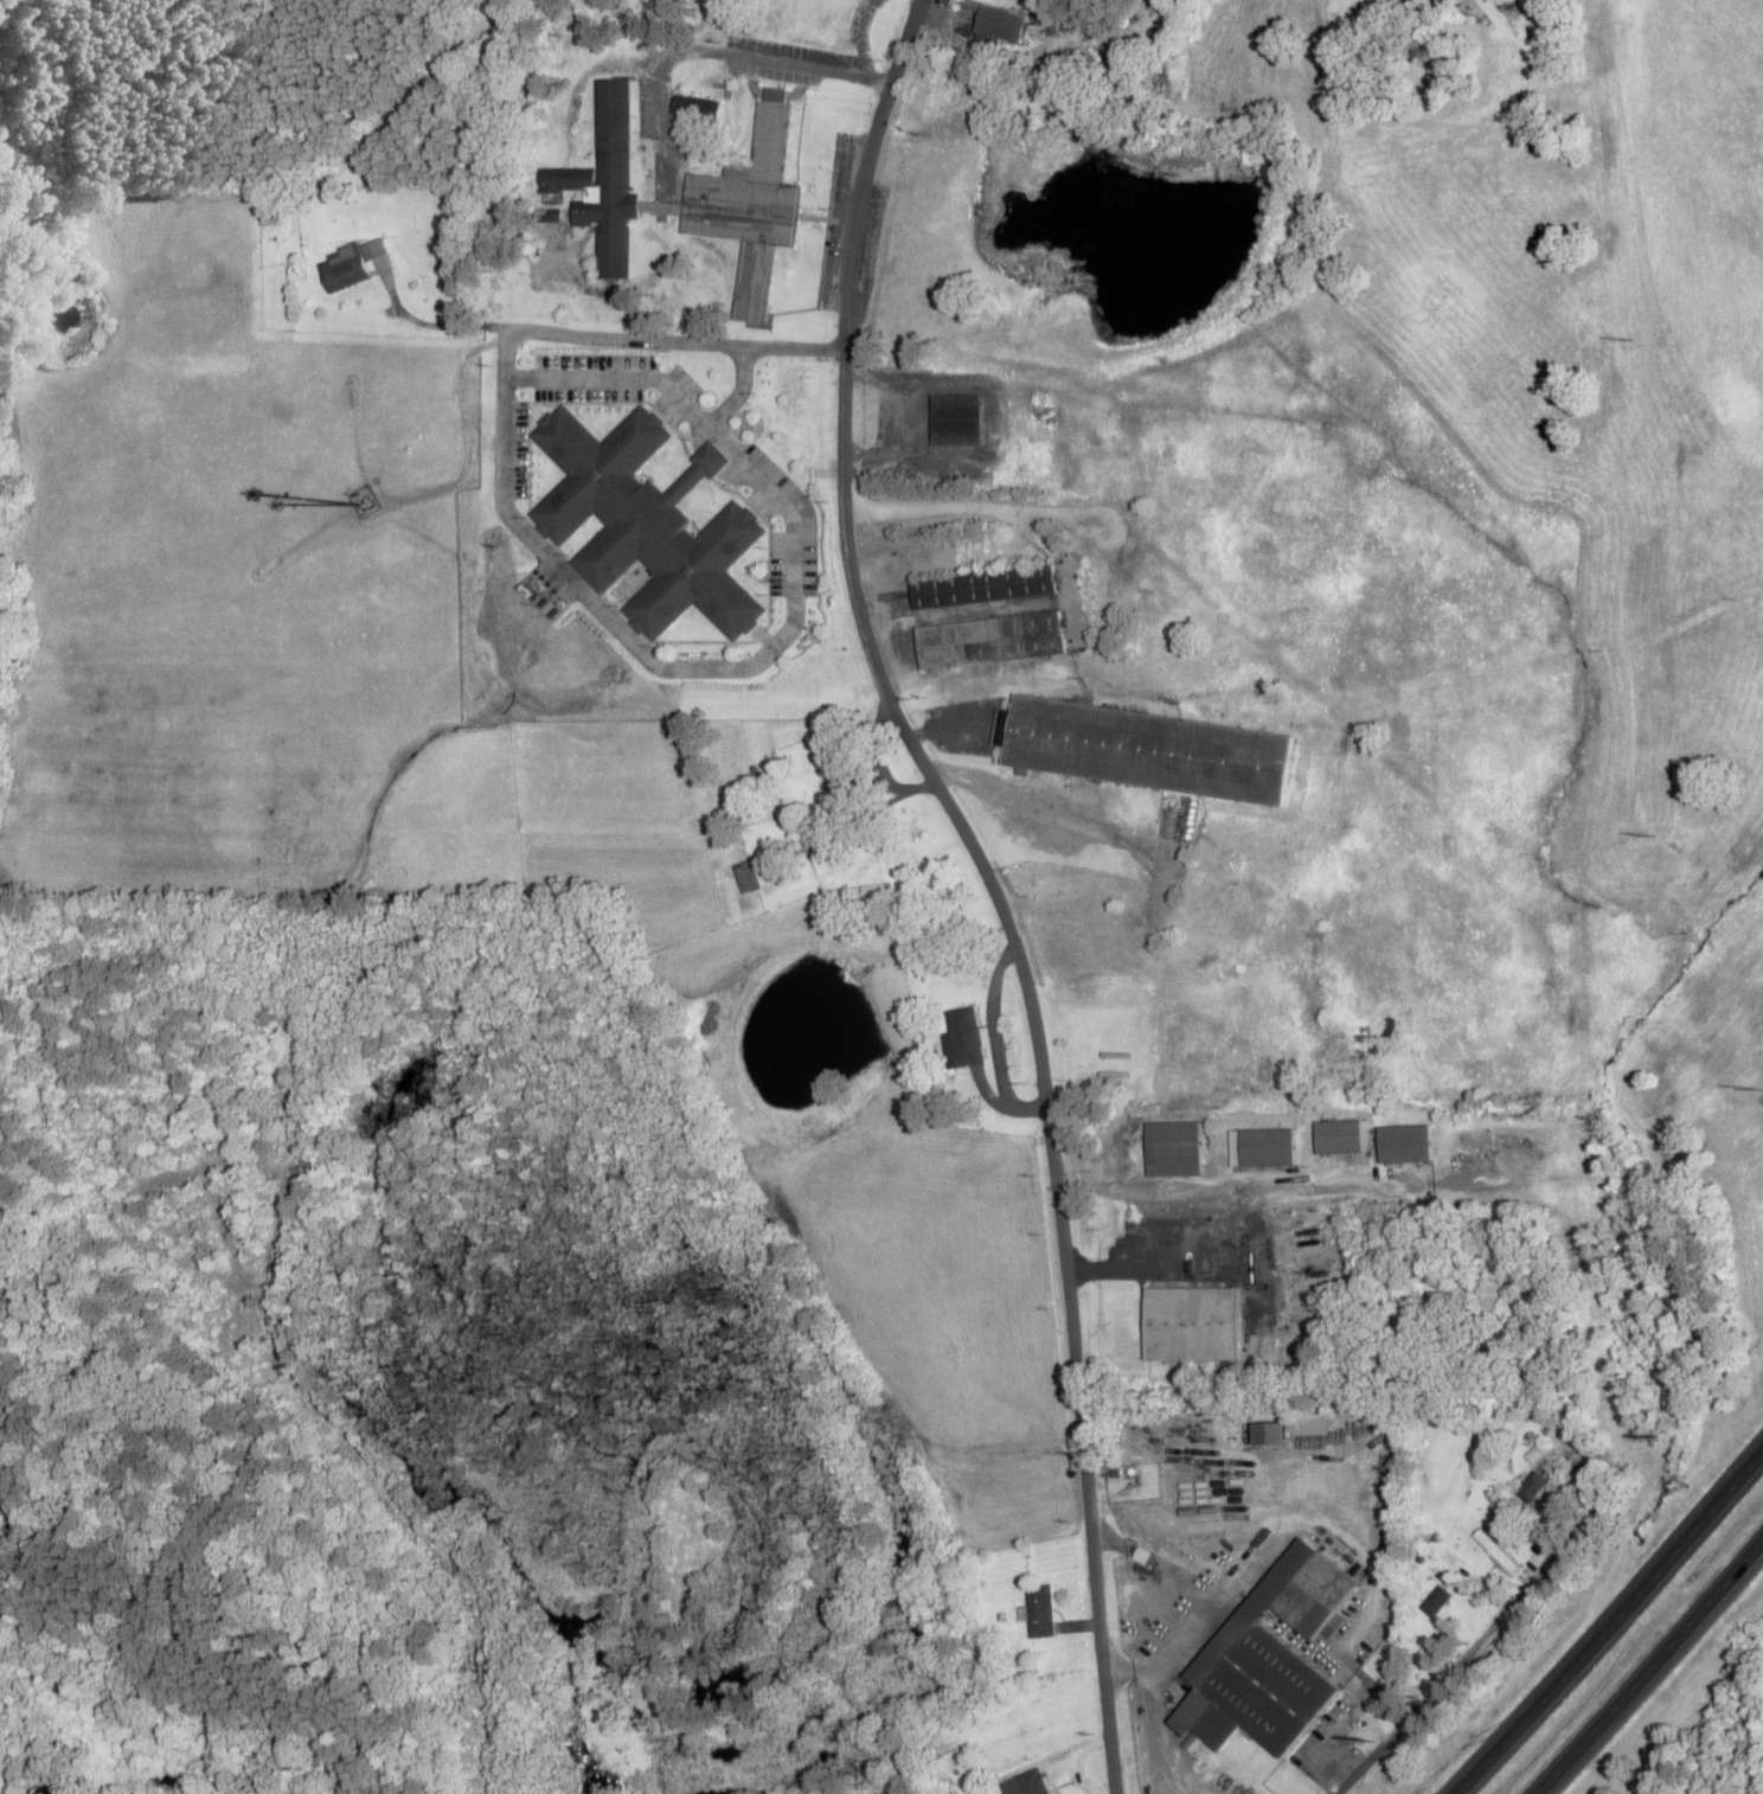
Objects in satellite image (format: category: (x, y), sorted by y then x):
building: (1423, 1)
building: (998, 23)
building: (693, 103)
building: (603, 178)
building: (746, 205)
building: (462, 226)
building: (372, 244)
building: (341, 250)
building: (346, 270)
road: (431, 319)
road: (678, 338)
power tower: (1618, 339)
parking lot: (589, 372)
road: (655, 379)
parking lot: (674, 390)
building: (955, 416)
parking lot: (517, 446)
building: (711, 455)
building: (645, 520)
parking lot: (784, 521)
building: (983, 583)
building: (989, 636)
road: (699, 667)
building: (1143, 745)
power tower: (1640, 834)
building: (758, 872)
road: (989, 880)
building: (961, 1034)
road: (993, 1038)
power tower: (1745, 1088)
road: (987, 1093)
building: (1338, 1133)
building: (1404, 1140)
building: (1261, 1143)
building: (1173, 1145)
building: (1191, 1320)
building: (1533, 1486)
road: (1114, 1544)
building: (1496, 1550)
road: (1143, 1556)
building: (1436, 1601)
building: (1039, 1610)
road: (1610, 1623)
road: (1188, 1634)
building: (1268, 1655)
road: (1457, 1661)
road: (1648, 1665)
river: (23, 1777)
river: (155, 1779)
building: (1030, 1780)
building: (1008, 1785)

